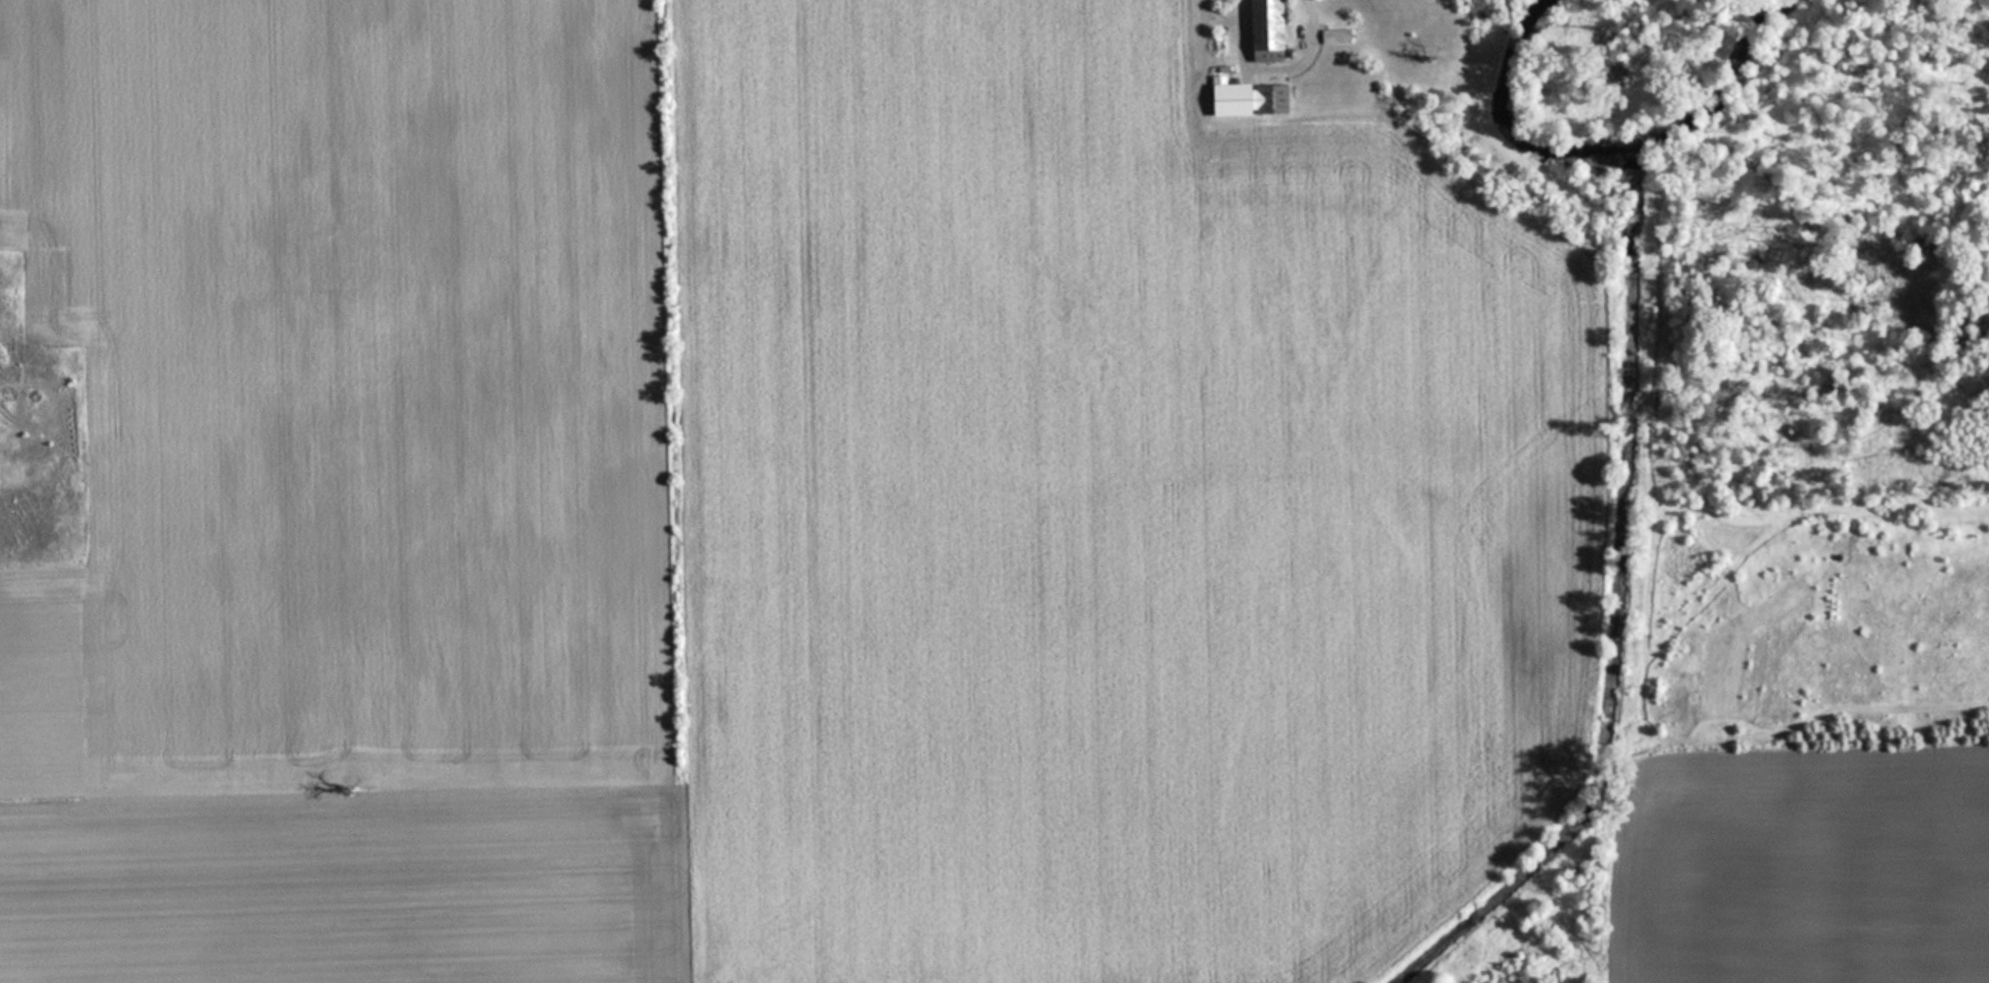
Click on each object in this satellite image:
building: (1262, 31)
building: (1334, 37)
building: (1268, 100)
river: (1627, 134)

